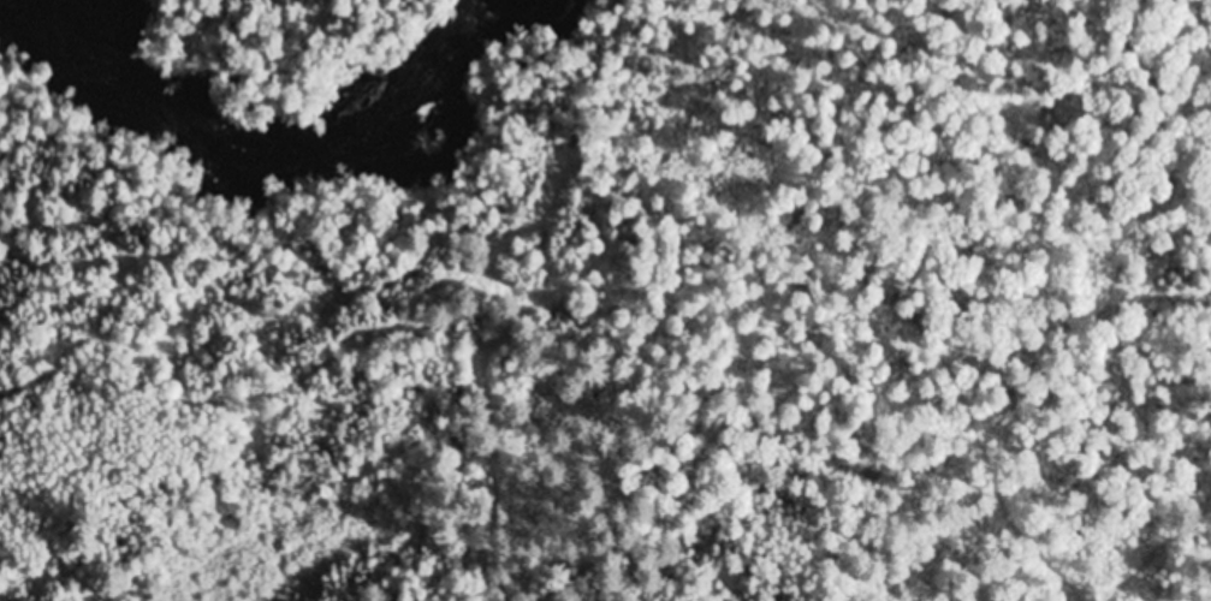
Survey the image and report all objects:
river: (236, 141)

